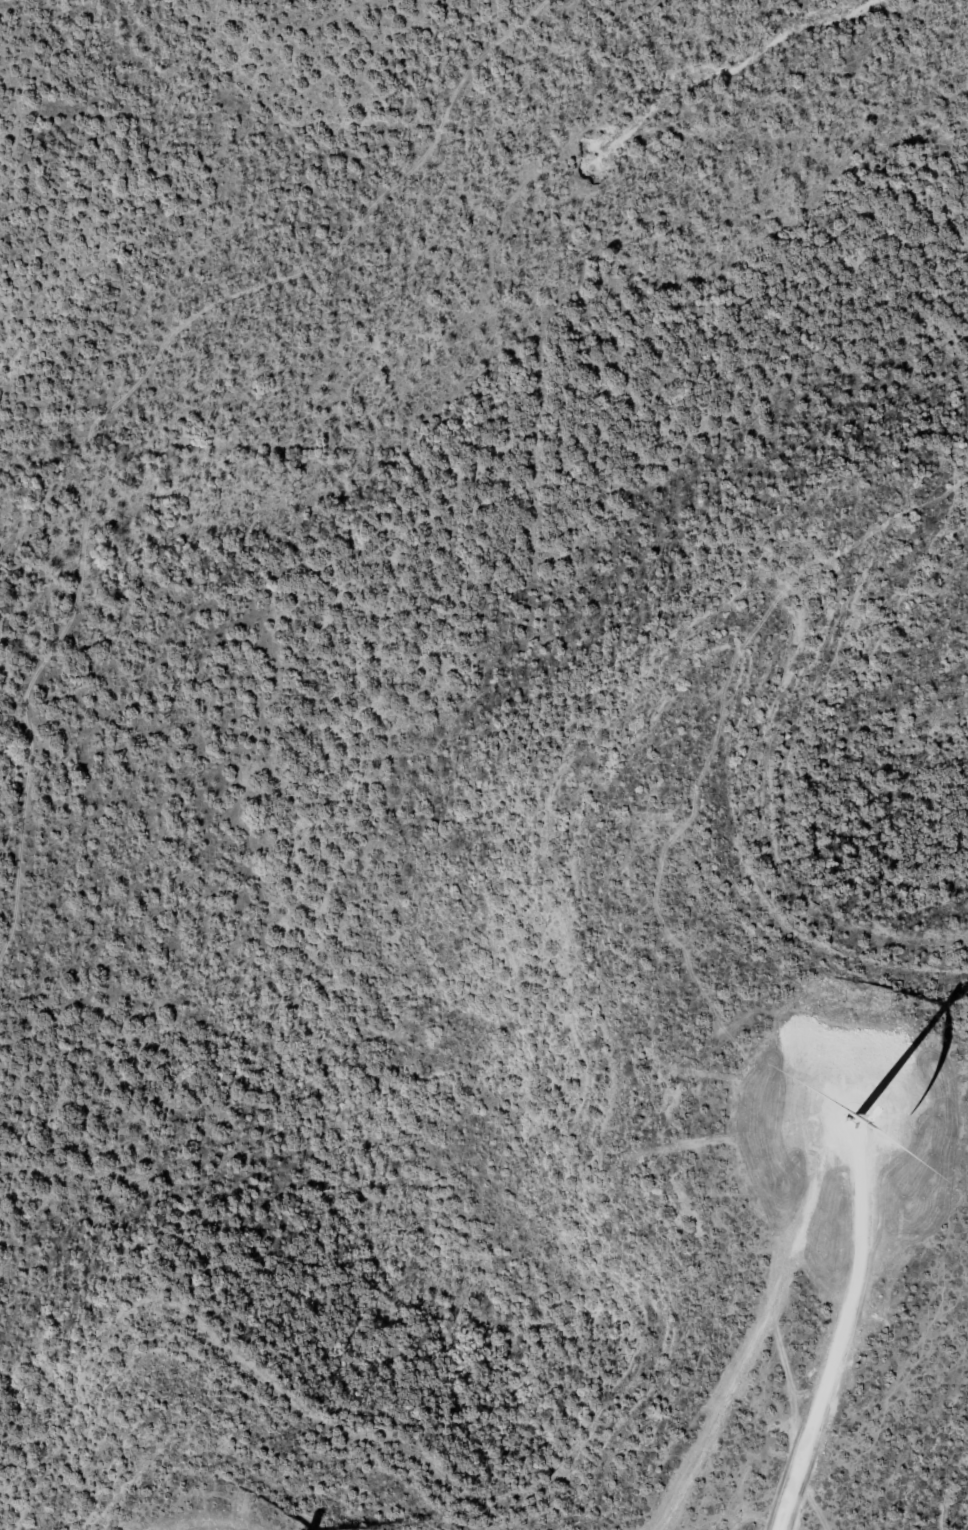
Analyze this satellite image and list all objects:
road: (105, 424)
wind turbine: (860, 1102)

